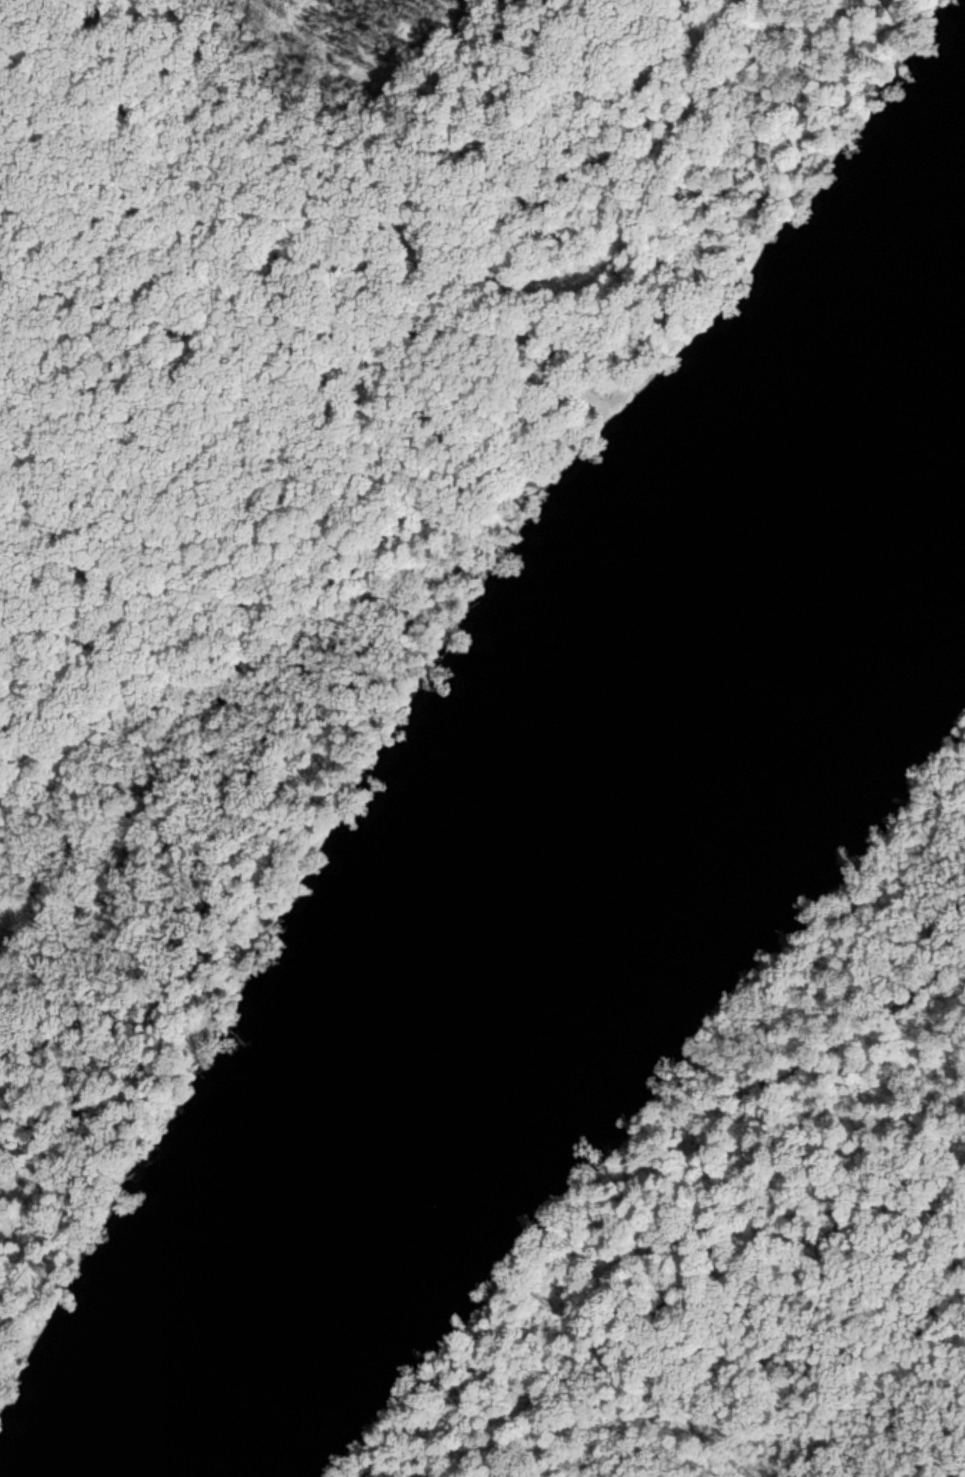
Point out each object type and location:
road: (199, 607)
road: (369, 635)
river: (552, 915)

